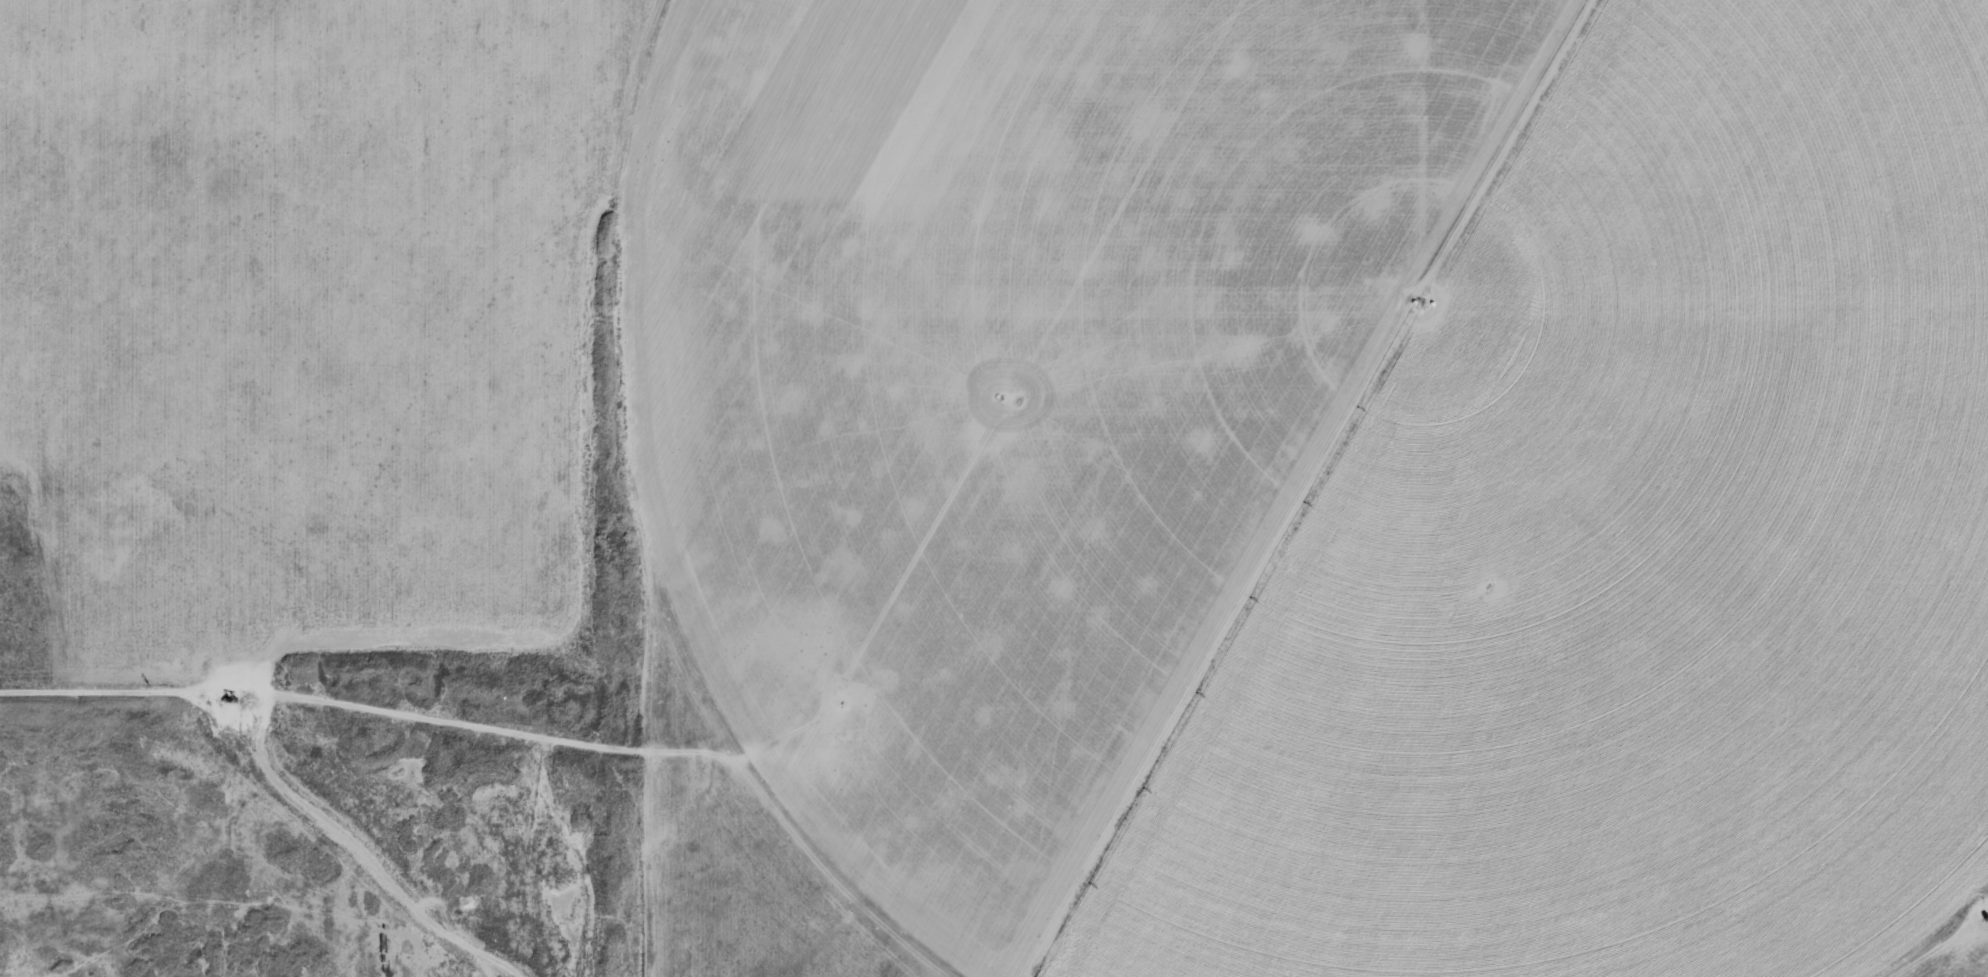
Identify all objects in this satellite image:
road: (251, 662)

